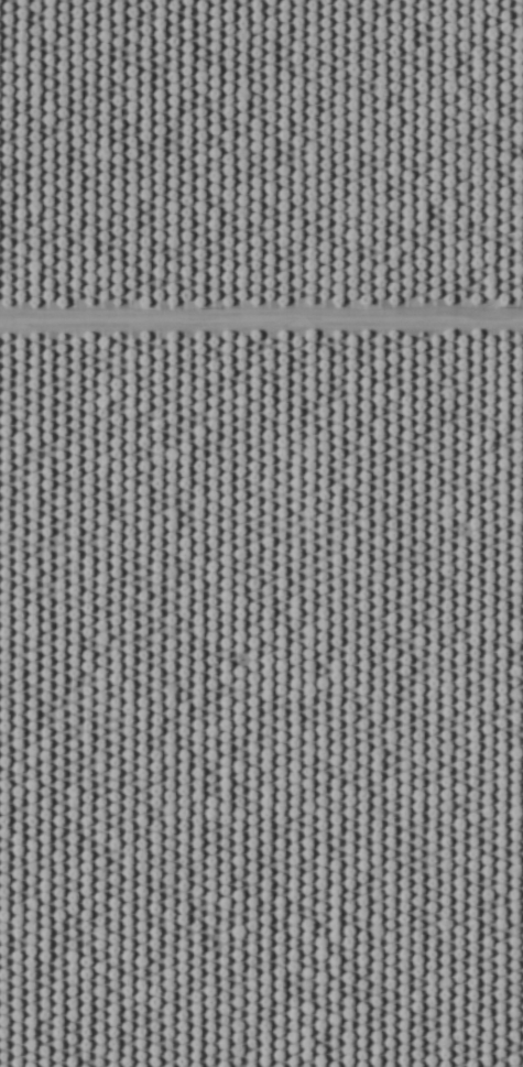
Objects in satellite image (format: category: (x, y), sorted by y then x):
road: (261, 314)

